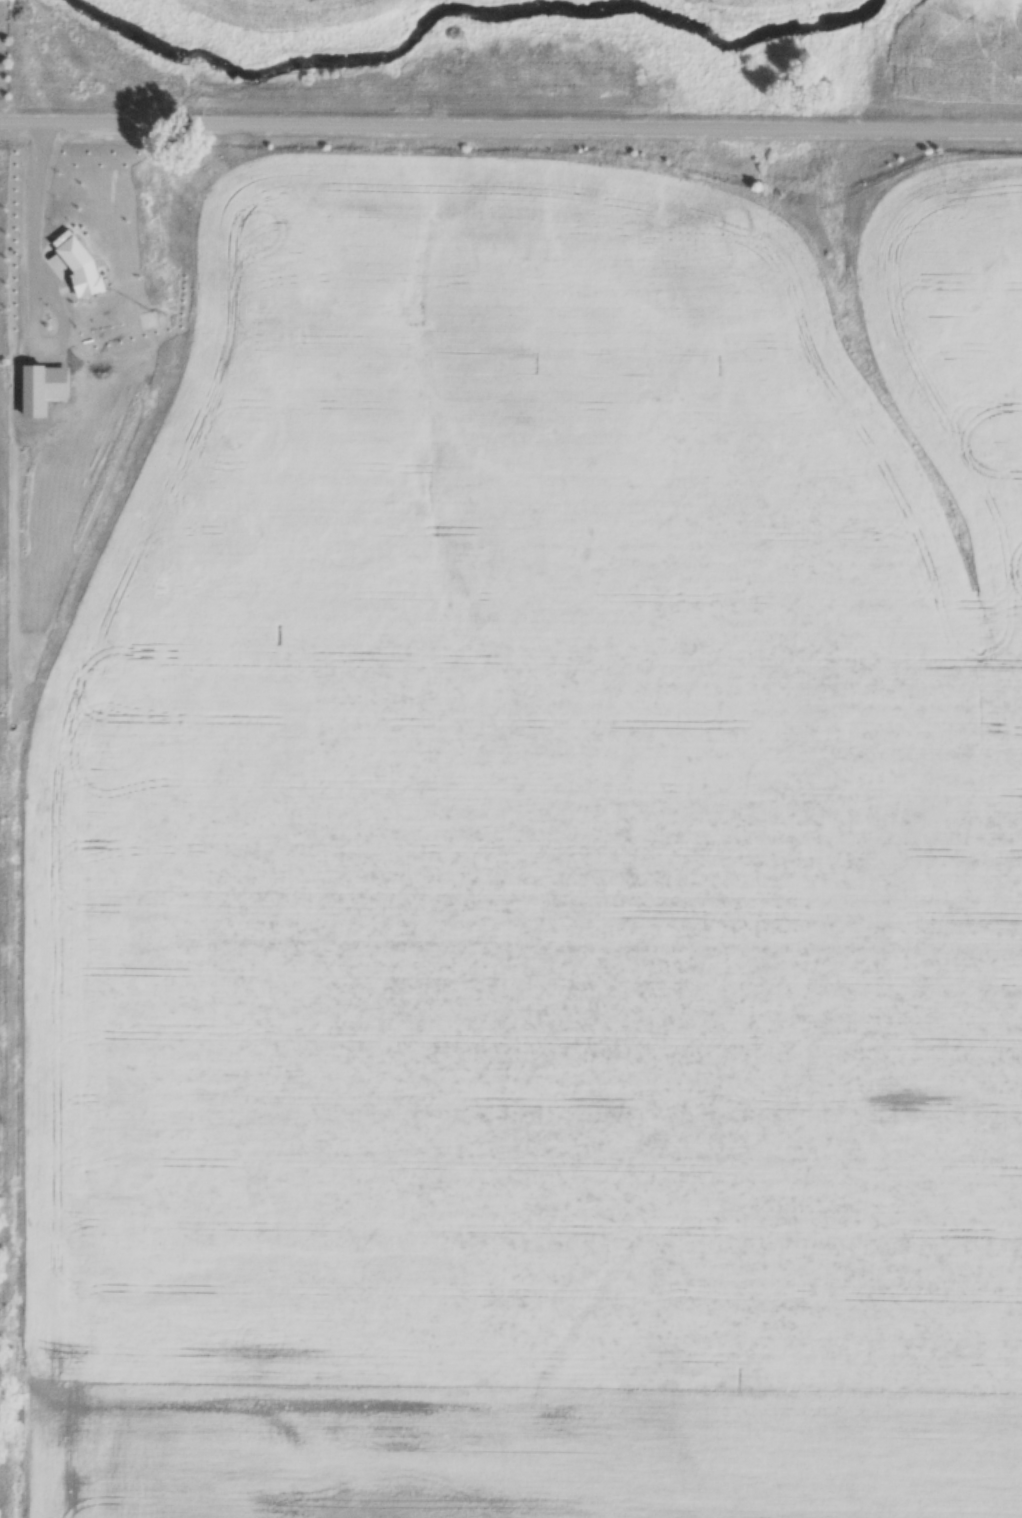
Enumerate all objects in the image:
road: (511, 128)
road: (32, 284)

